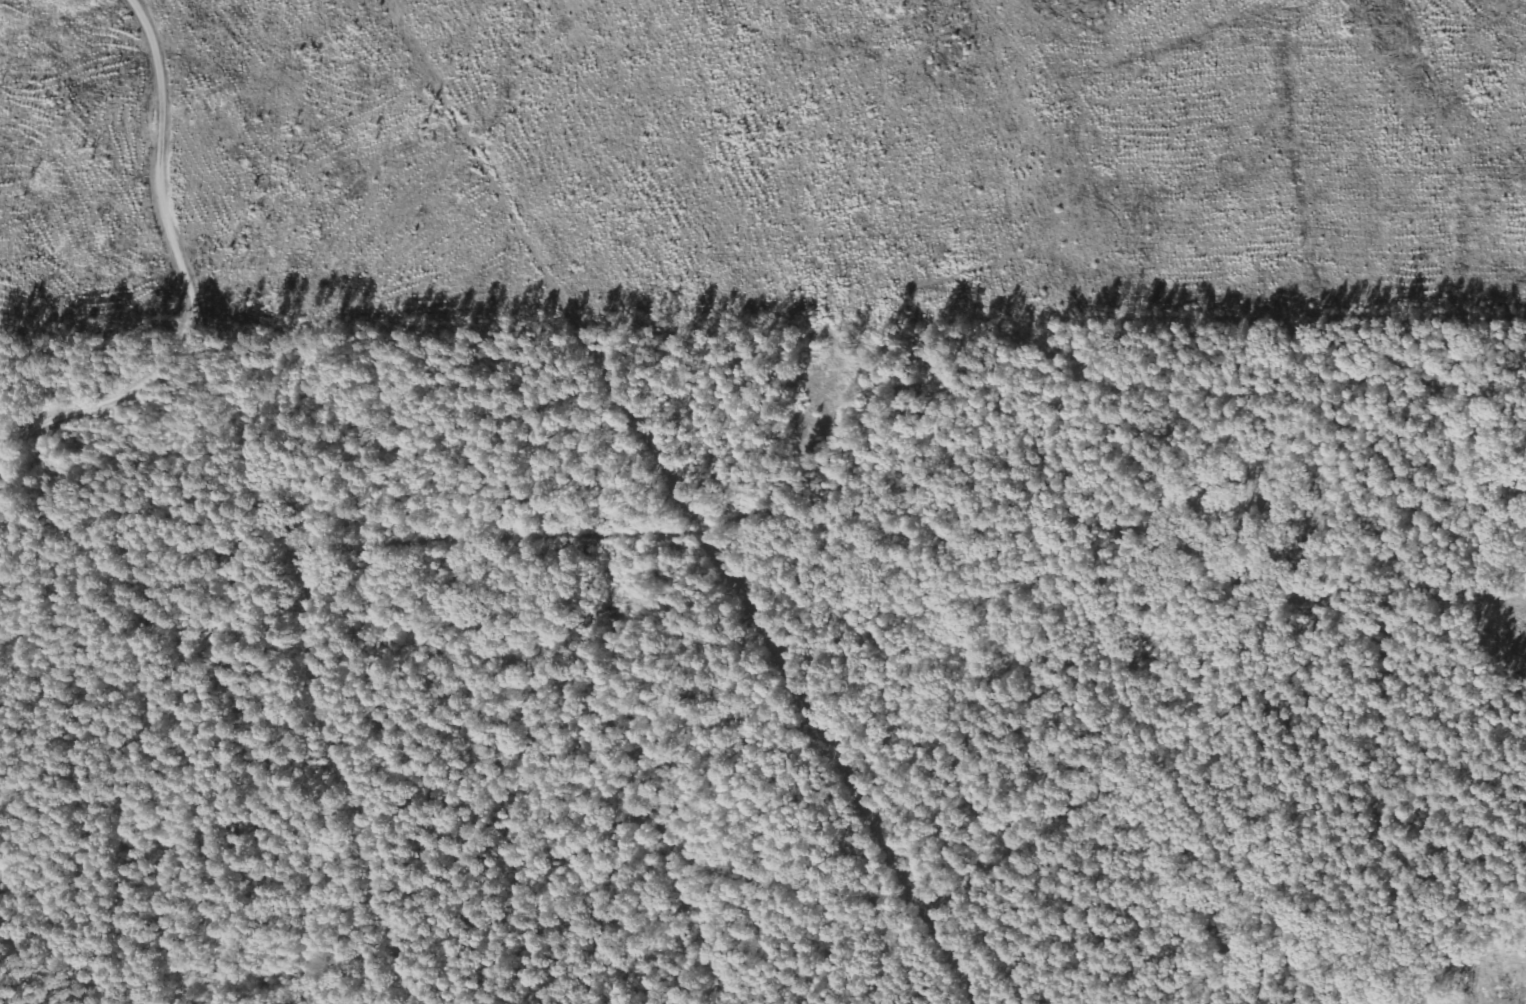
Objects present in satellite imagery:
road: (271, 499)

